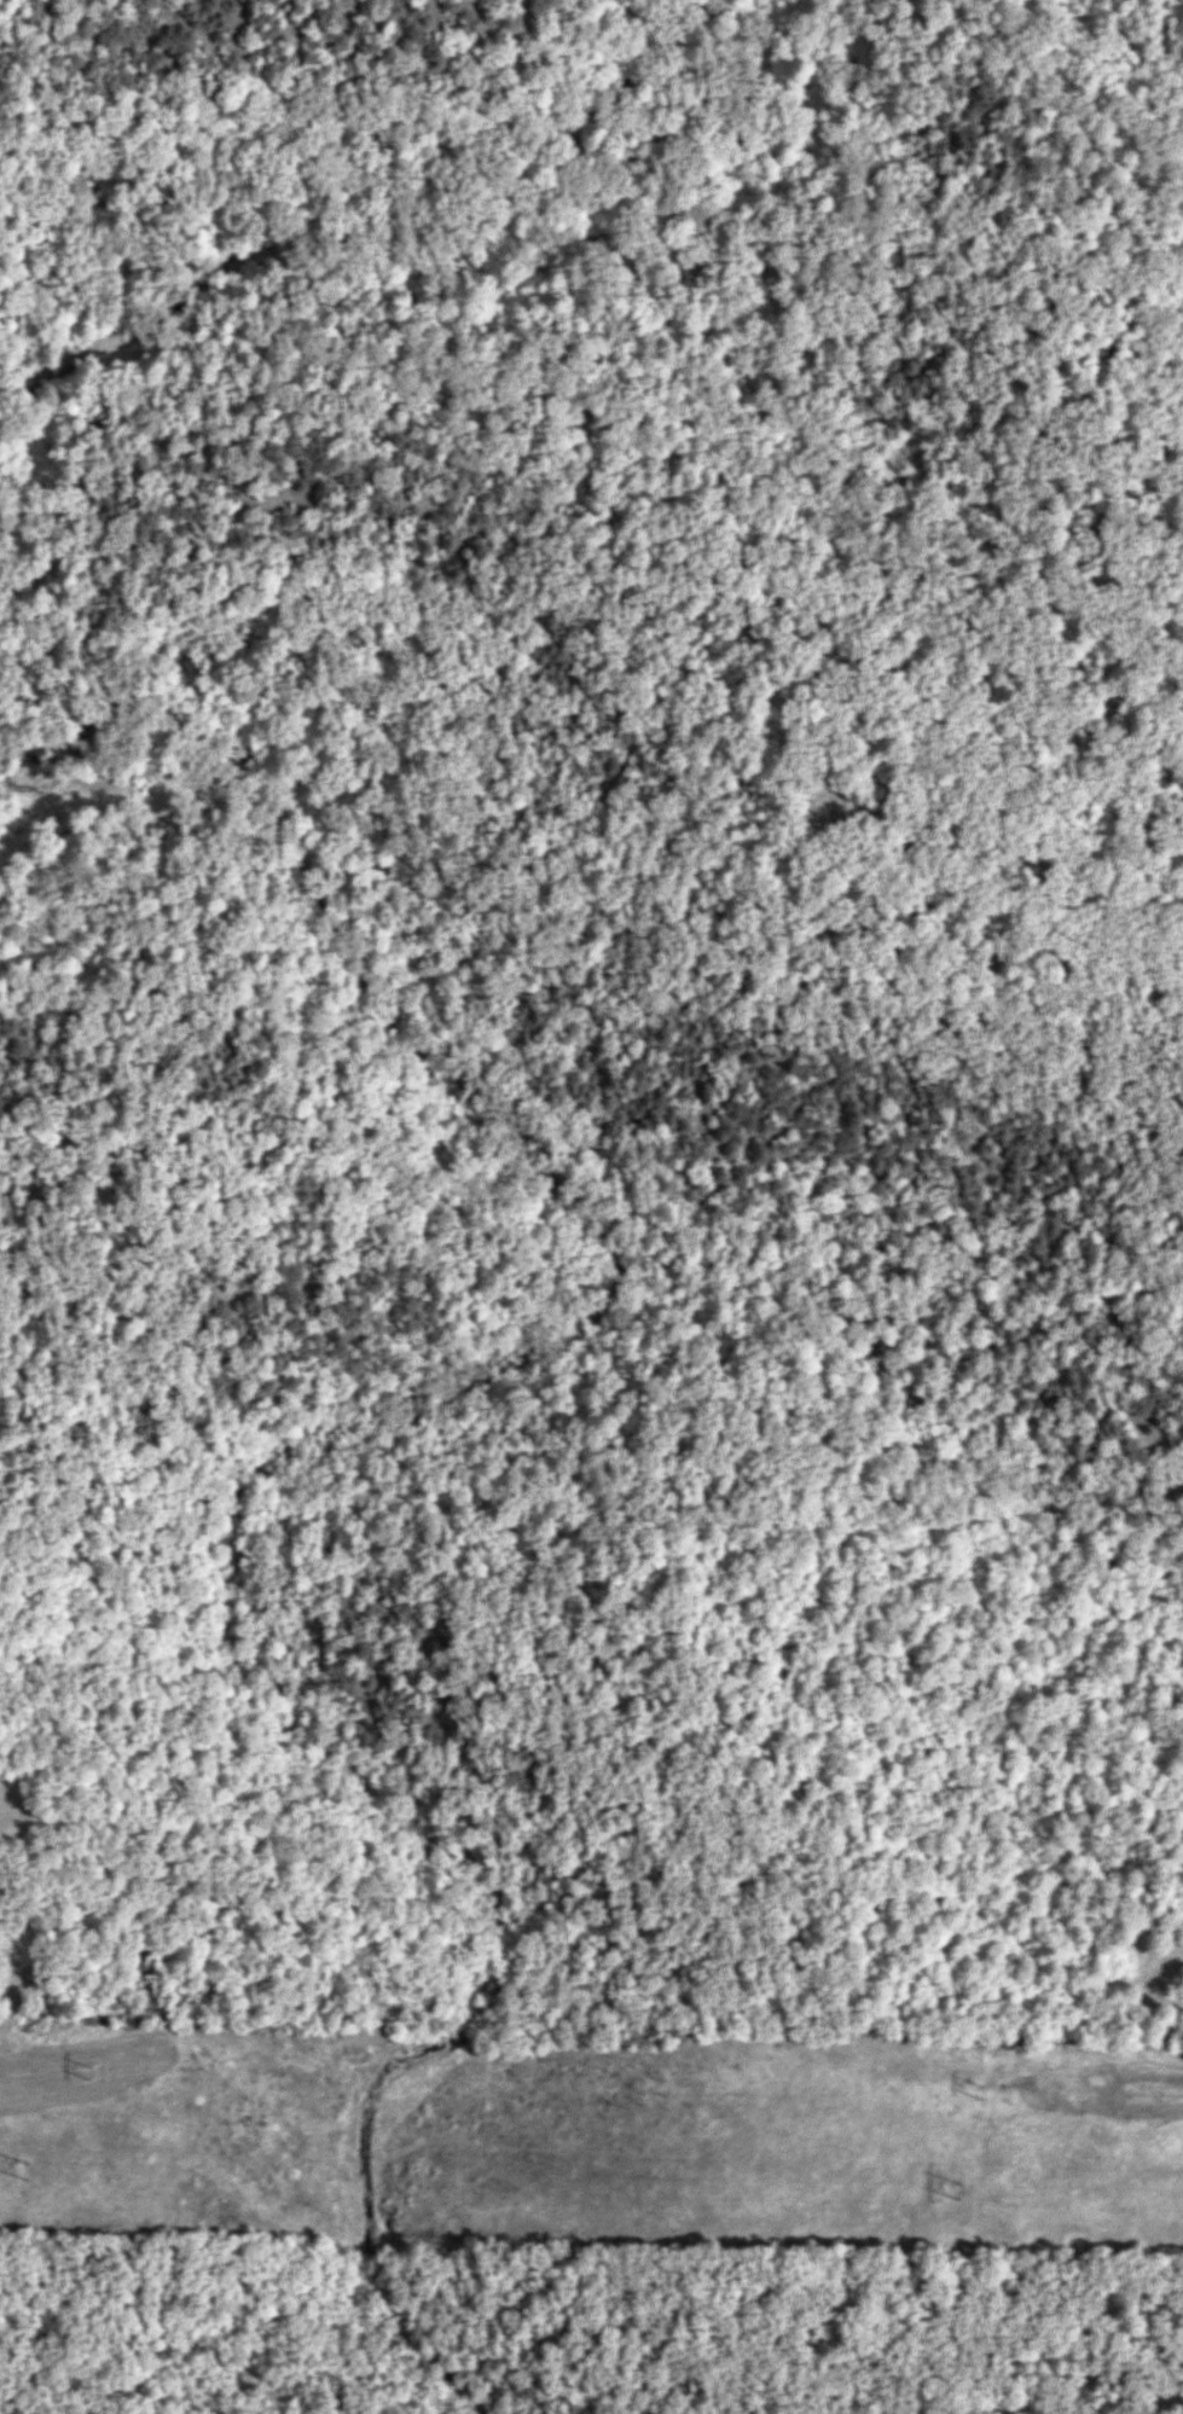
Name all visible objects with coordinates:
power tower: (99, 2073)
power tower: (985, 2090)
power tower: (23, 2171)
power tower: (959, 2190)

